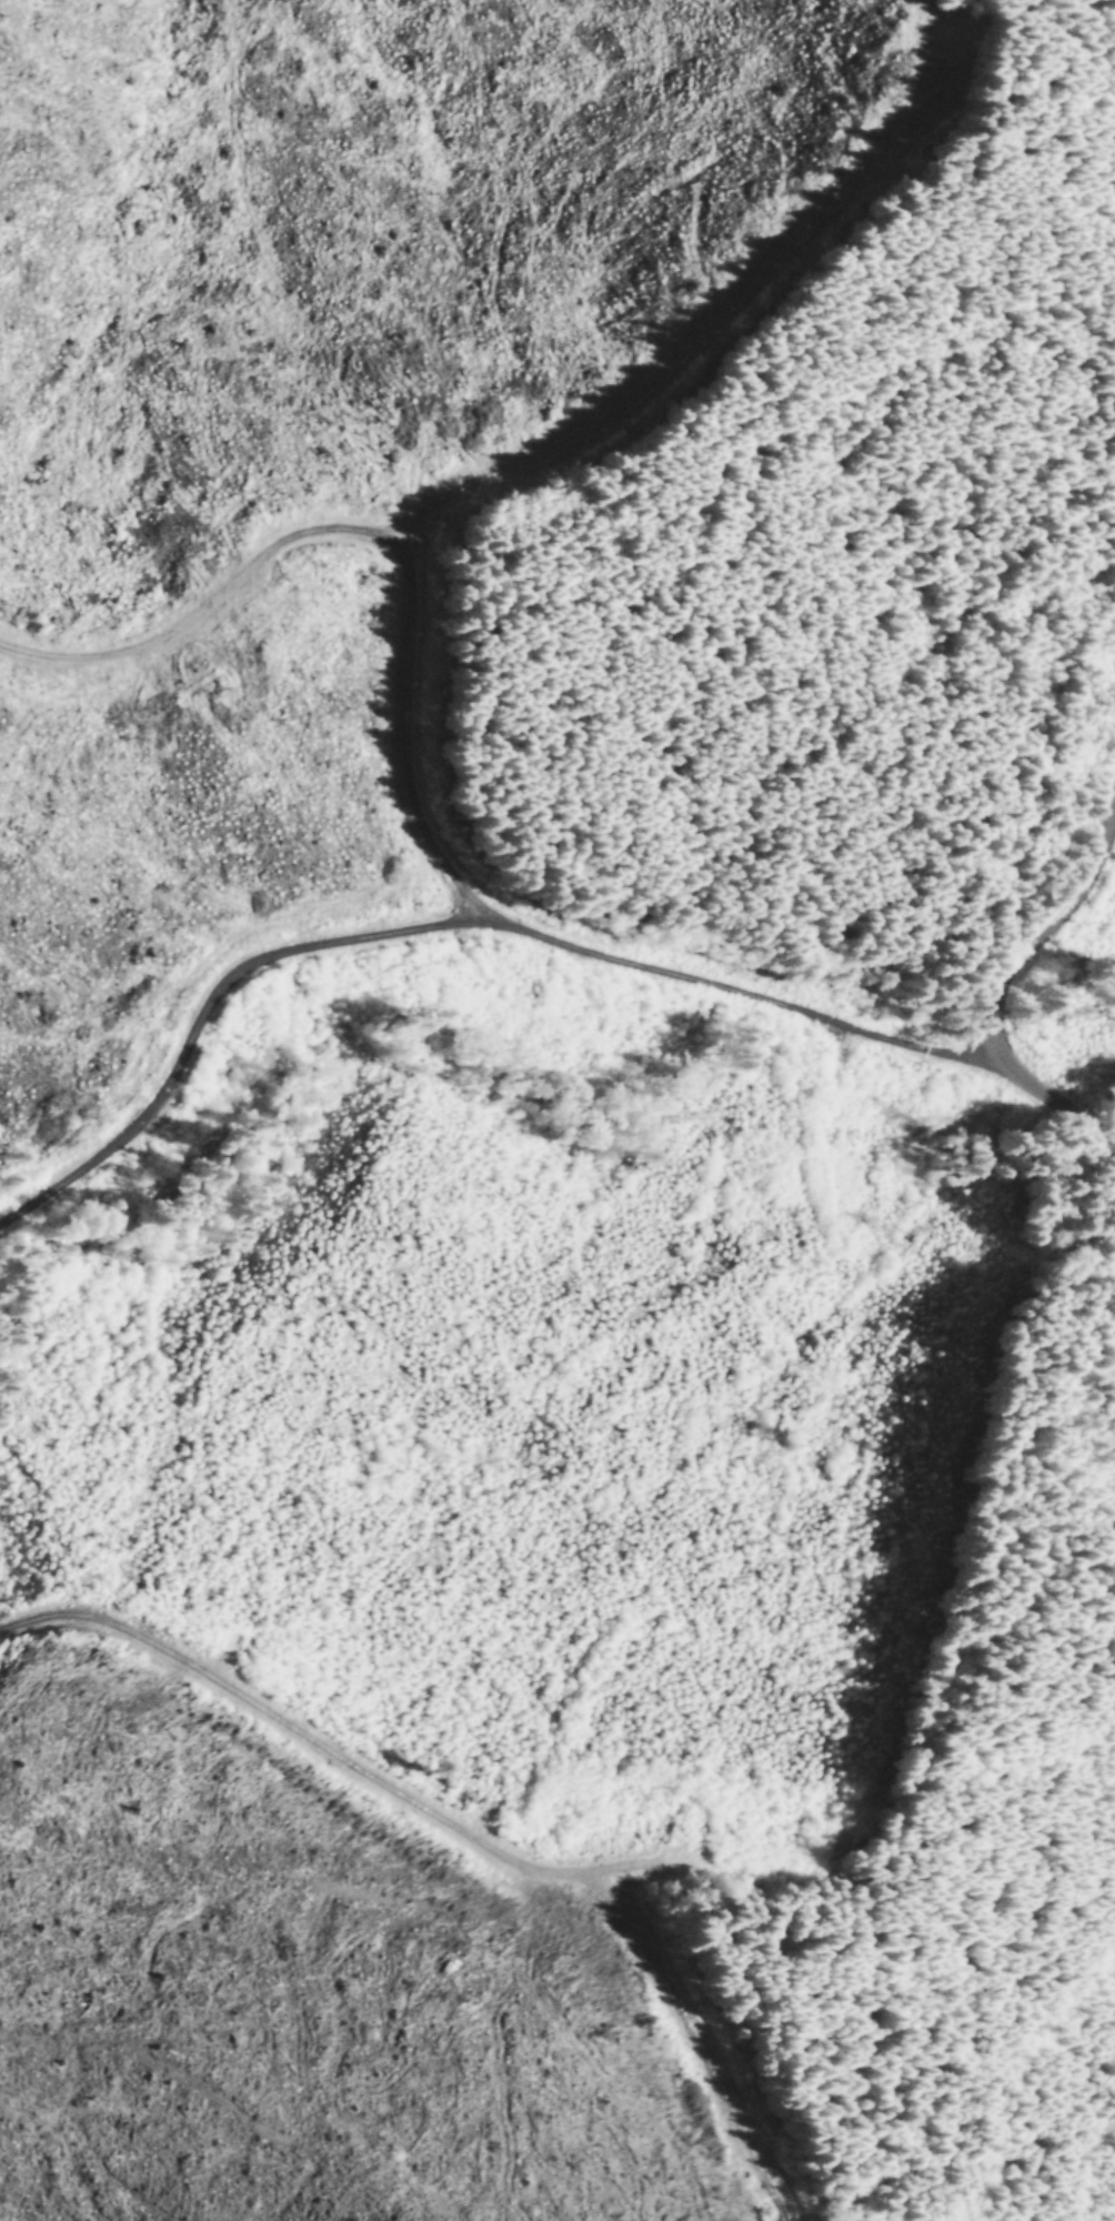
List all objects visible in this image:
road: (726, 330)
road: (371, 536)
road: (1041, 929)
road: (512, 933)
road: (466, 1832)
road: (826, 1843)

